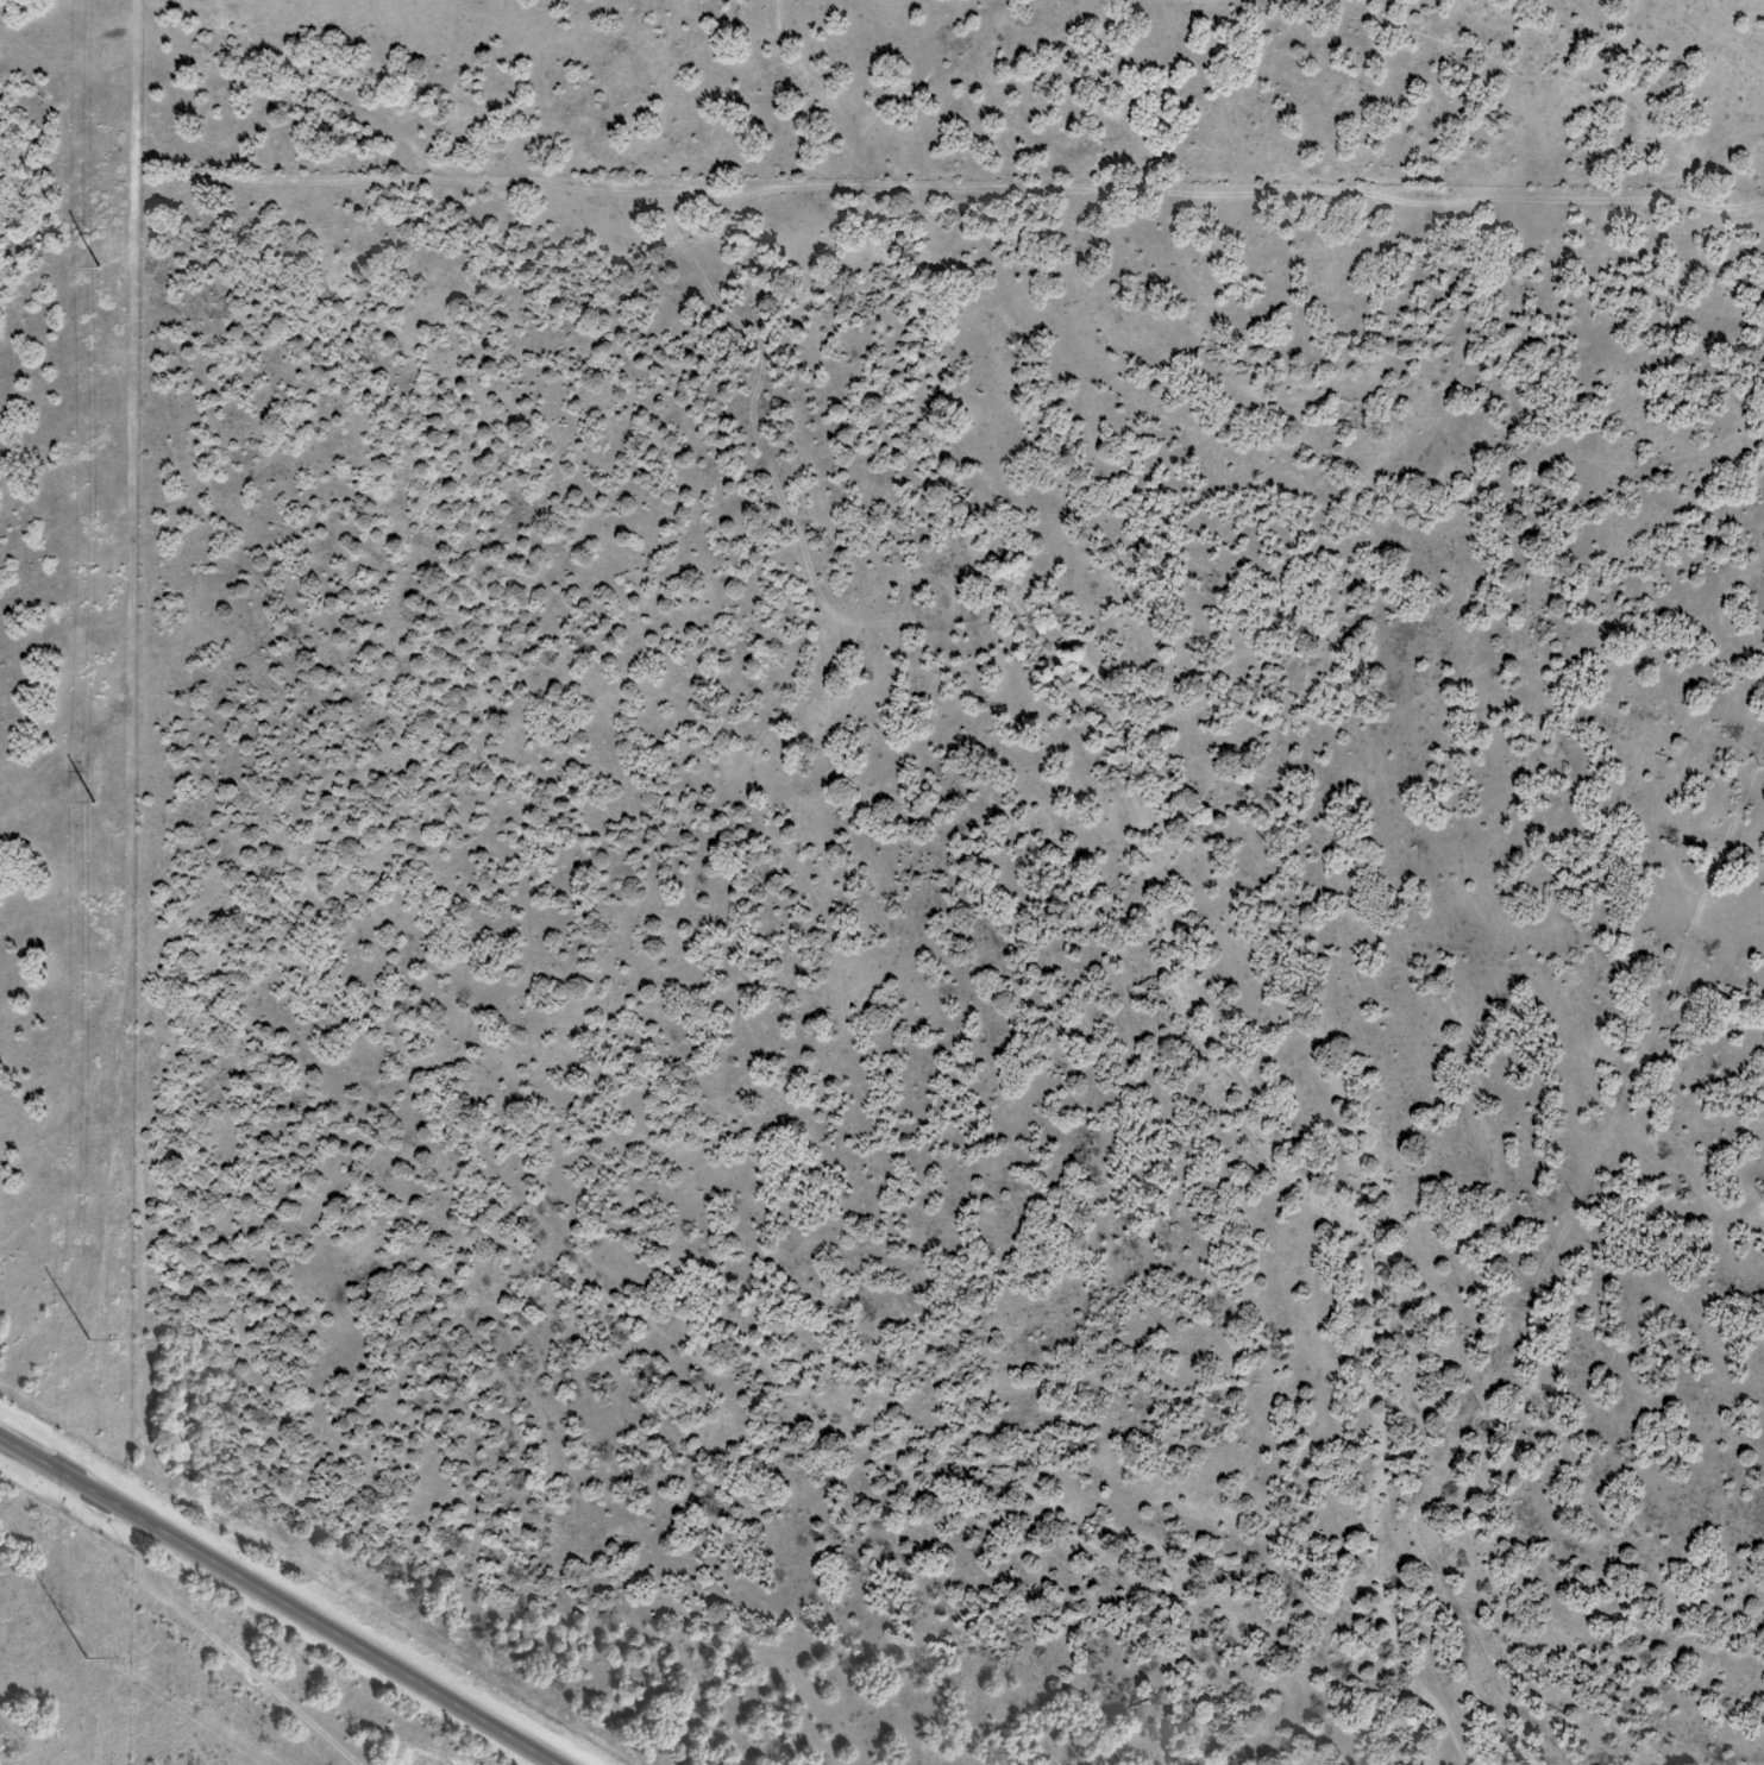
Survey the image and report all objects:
power tower: (95, 268)
power tower: (90, 805)
power tower: (79, 1346)
road: (280, 1601)
power tower: (84, 1659)

